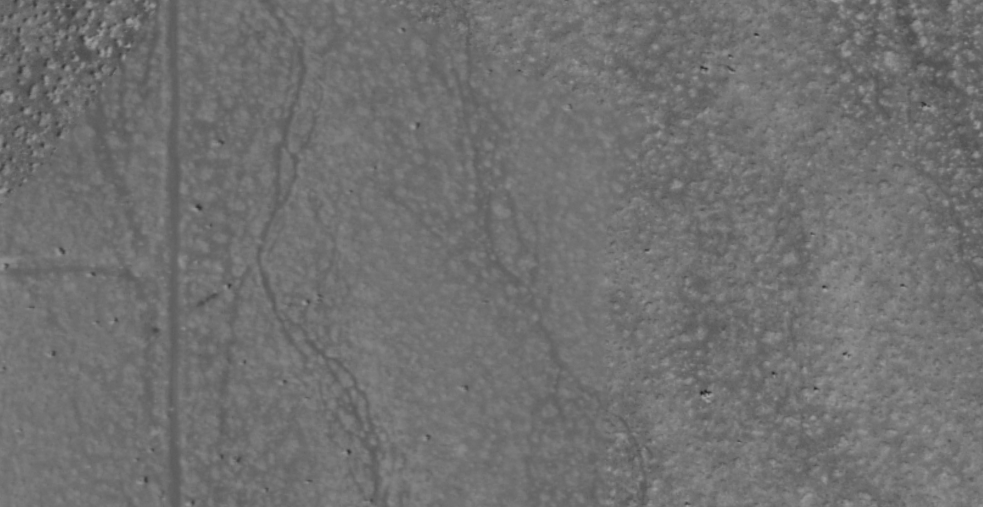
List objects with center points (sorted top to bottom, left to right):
road: (173, 253)

